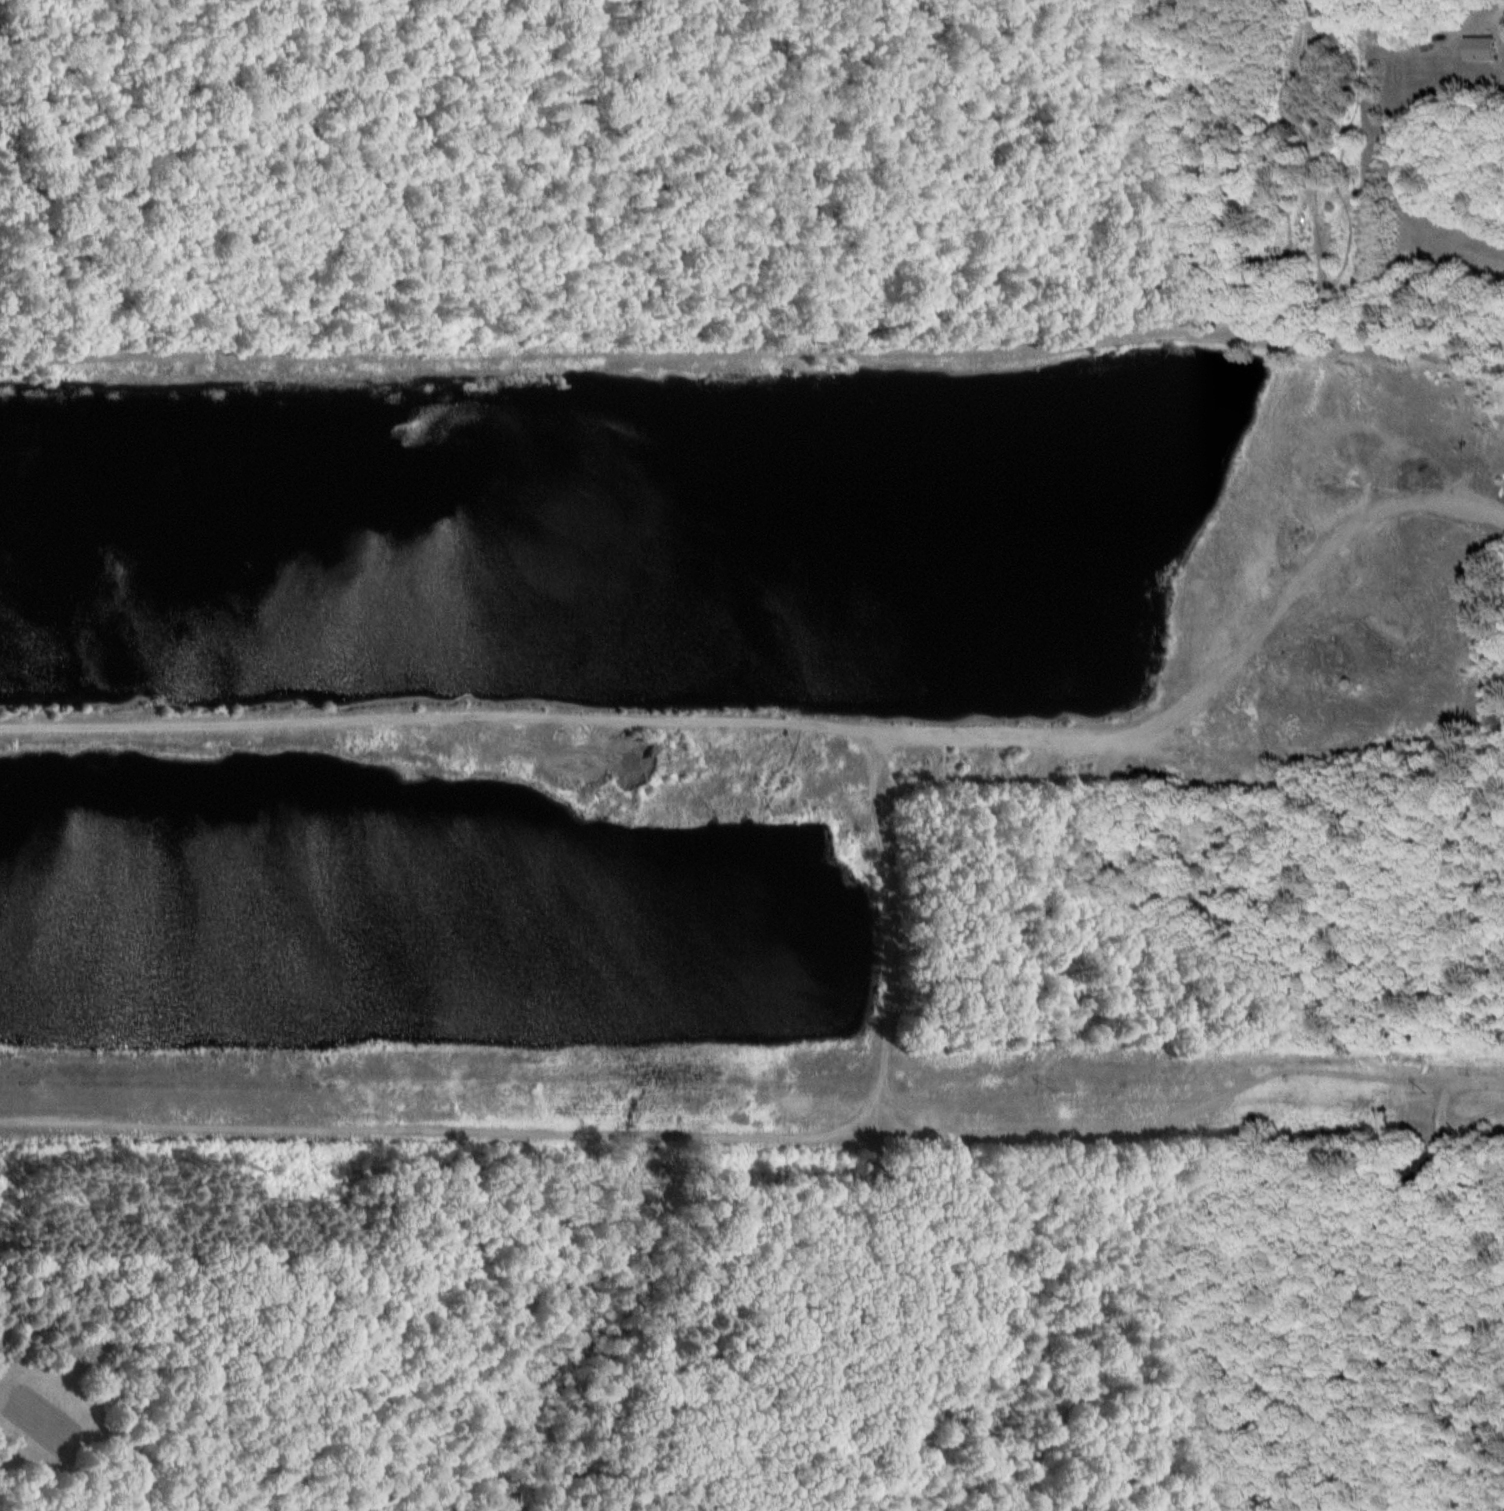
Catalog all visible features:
building: (1484, 50)
road: (1459, 1086)
building: (1425, 1171)

